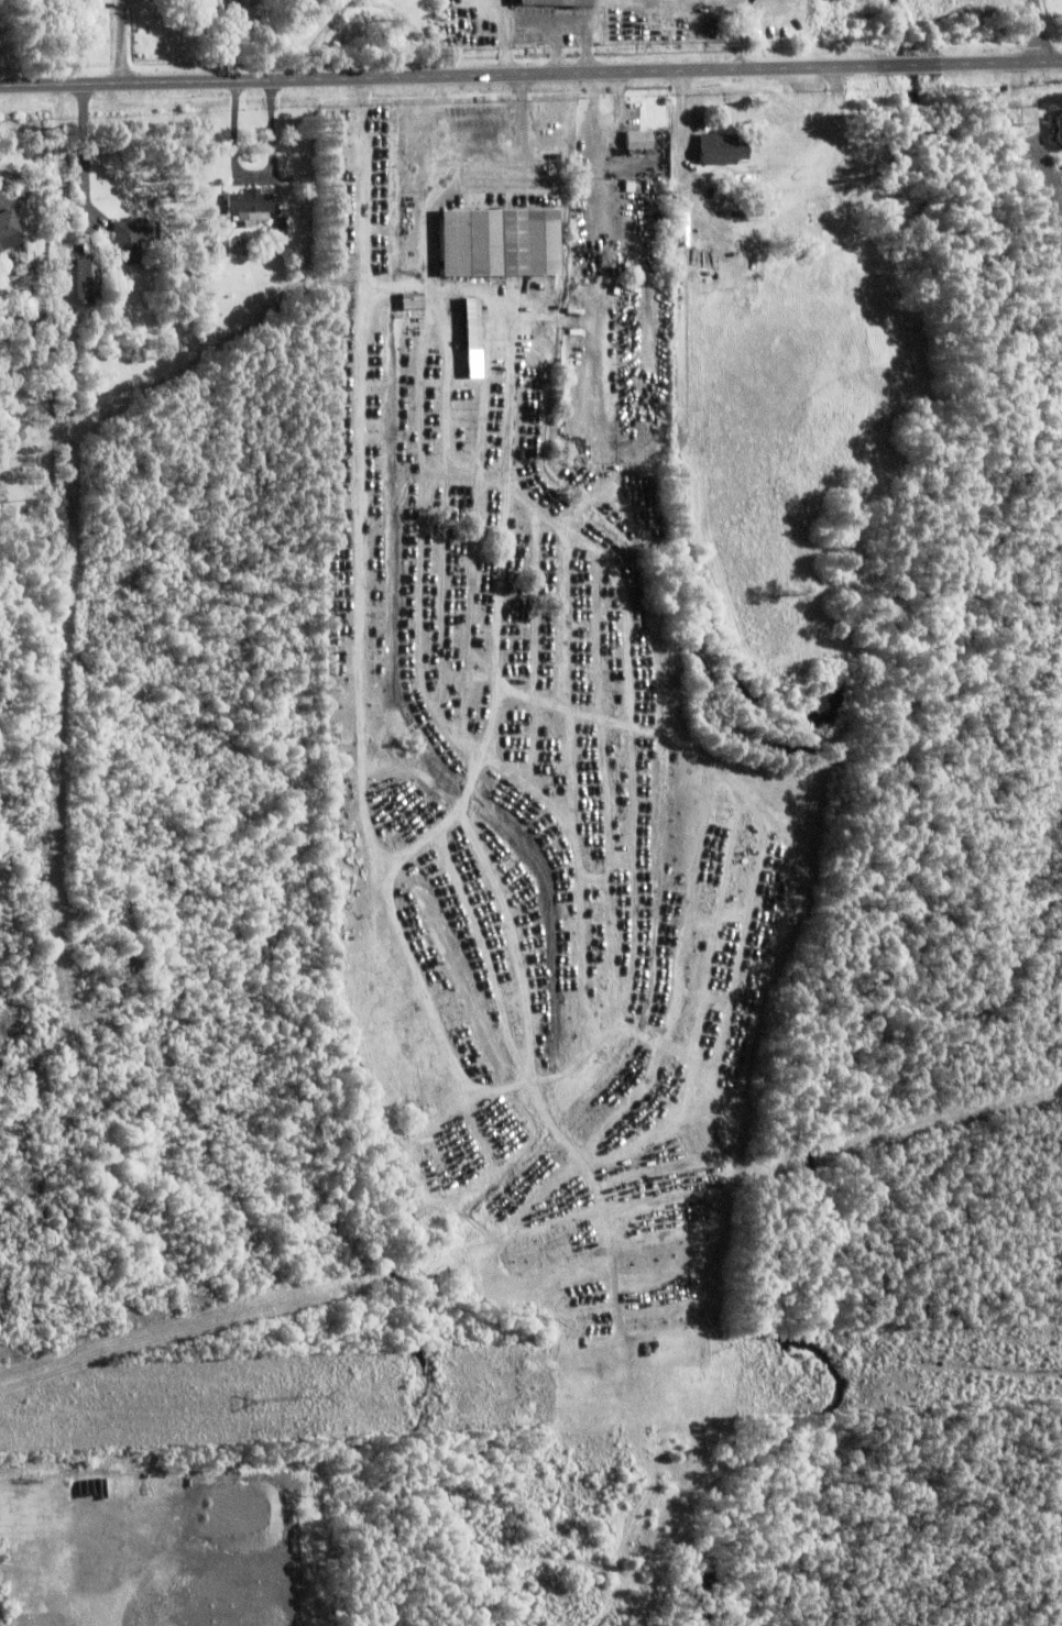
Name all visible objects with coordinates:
building: (555, 4)
road: (1042, 30)
road: (122, 41)
road: (530, 73)
building: (1054, 129)
building: (638, 136)
road: (523, 149)
building: (710, 150)
road: (252, 176)
building: (249, 207)
building: (795, 207)
building: (247, 227)
building: (278, 229)
building: (8, 232)
building: (132, 239)
building: (497, 239)
building: (215, 242)
building: (254, 244)
building: (238, 245)
building: (81, 248)
building: (214, 252)
building: (237, 254)
building: (201, 279)
building: (85, 284)
building: (410, 297)
building: (40, 308)
building: (26, 312)
building: (470, 319)
building: (39, 343)
building: (48, 378)
road: (63, 574)
building: (120, 918)
building: (396, 977)
power tower: (299, 1397)

